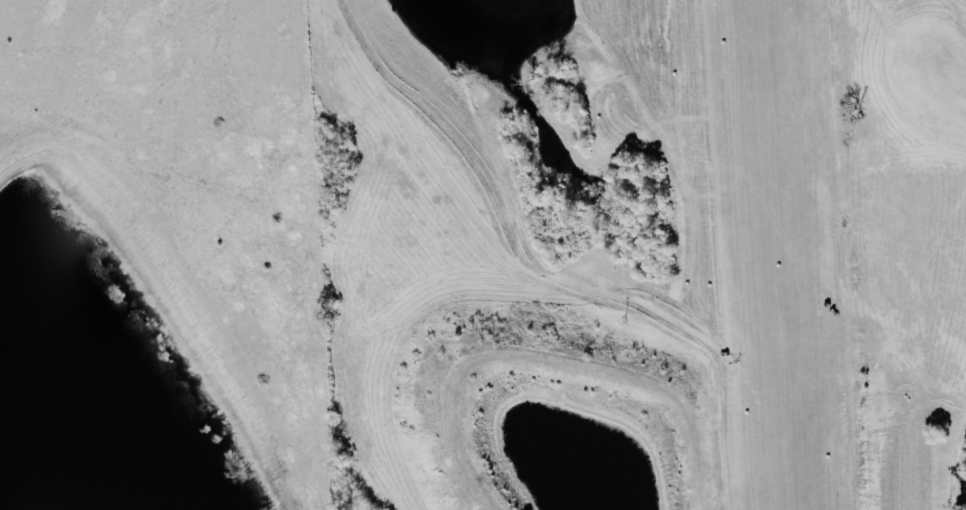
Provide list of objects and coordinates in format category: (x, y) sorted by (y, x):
road: (955, 463)

